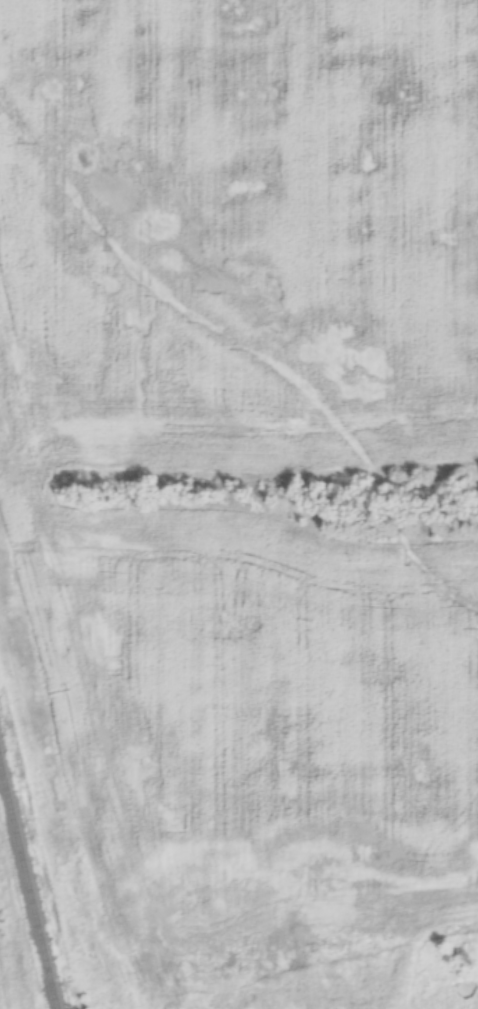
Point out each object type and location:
railway: (27, 888)

